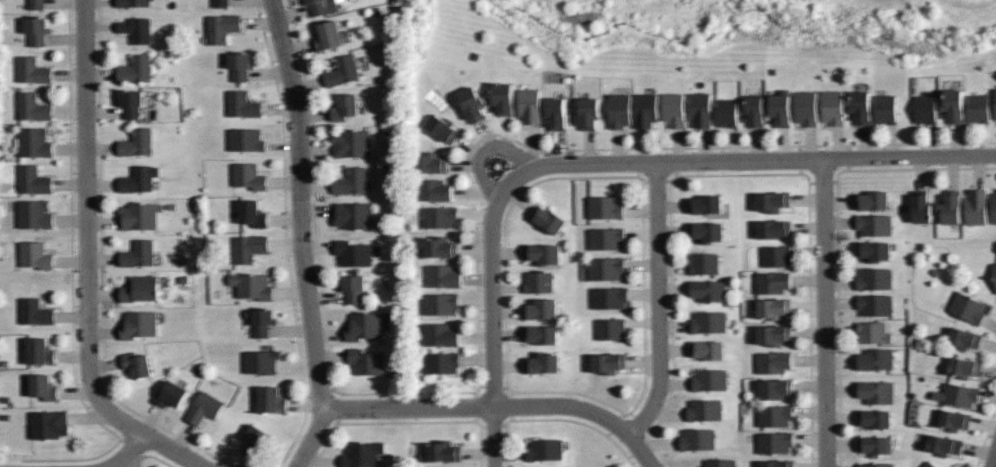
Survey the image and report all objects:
building: (134, 3)
building: (222, 4)
building: (36, 6)
building: (322, 6)
building: (222, 27)
building: (38, 28)
building: (136, 29)
building: (331, 35)
building: (239, 67)
building: (139, 69)
building: (34, 70)
building: (342, 71)
building: (995, 91)
building: (503, 98)
building: (132, 103)
building: (472, 103)
building: (243, 105)
building: (530, 105)
building: (952, 105)
building: (34, 106)
building: (345, 106)
building: (780, 107)
building: (860, 107)
building: (979, 107)
building: (807, 108)
building: (833, 108)
building: (674, 109)
building: (925, 109)
building: (646, 110)
building: (700, 110)
building: (886, 110)
building: (620, 111)
building: (726, 111)
building: (754, 111)
building: (554, 112)
building: (588, 112)
building: (440, 127)
building: (246, 140)
building: (139, 142)
building: (35, 143)
building: (350, 144)
road: (485, 151)
road: (751, 160)
building: (429, 163)
building: (248, 176)
building: (35, 179)
building: (139, 180)
building: (351, 182)
building: (433, 190)
building: (873, 200)
building: (770, 201)
road: (305, 202)
building: (706, 205)
building: (921, 206)
building: (977, 207)
building: (603, 208)
building: (949, 208)
building: (994, 208)
building: (352, 214)
building: (35, 215)
building: (252, 215)
building: (141, 216)
building: (440, 216)
building: (547, 219)
building: (873, 224)
building: (770, 228)
building: (705, 232)
building: (607, 237)
building: (250, 247)
building: (439, 248)
building: (874, 250)
building: (140, 253)
building: (353, 253)
building: (543, 254)
building: (37, 255)
building: (774, 256)
road: (93, 263)
building: (705, 264)
building: (995, 267)
building: (606, 268)
building: (442, 276)
building: (873, 278)
building: (537, 281)
building: (772, 282)
building: (250, 287)
building: (143, 288)
building: (353, 288)
building: (709, 291)
building: (608, 298)
building: (441, 302)
road: (658, 302)
building: (873, 304)
building: (967, 307)
building: (542, 309)
building: (773, 309)
building: (36, 312)
road: (825, 313)
building: (260, 321)
road: (493, 321)
building: (710, 322)
building: (141, 325)
building: (364, 326)
building: (611, 329)
building: (871, 332)
building: (439, 334)
building: (543, 334)
building: (772, 334)
building: (964, 338)
building: (709, 349)
building: (42, 353)
building: (874, 358)
building: (260, 361)
building: (772, 362)
building: (366, 363)
building: (440, 363)
building: (543, 363)
building: (608, 363)
building: (137, 365)
building: (963, 368)
building: (710, 380)
building: (42, 387)
building: (774, 389)
building: (877, 392)
building: (957, 394)
building: (170, 395)
building: (272, 399)
road: (501, 405)
building: (204, 408)
building: (704, 410)
building: (774, 414)
building: (875, 418)
building: (951, 420)
building: (49, 424)
road: (319, 438)
building: (697, 439)
building: (256, 440)
building: (773, 441)
building: (941, 445)
building: (875, 446)
building: (544, 449)
road: (136, 452)
building: (443, 452)
building: (361, 455)
road: (994, 461)
building: (720, 463)
building: (777, 463)
building: (928, 464)
building: (875, 465)

